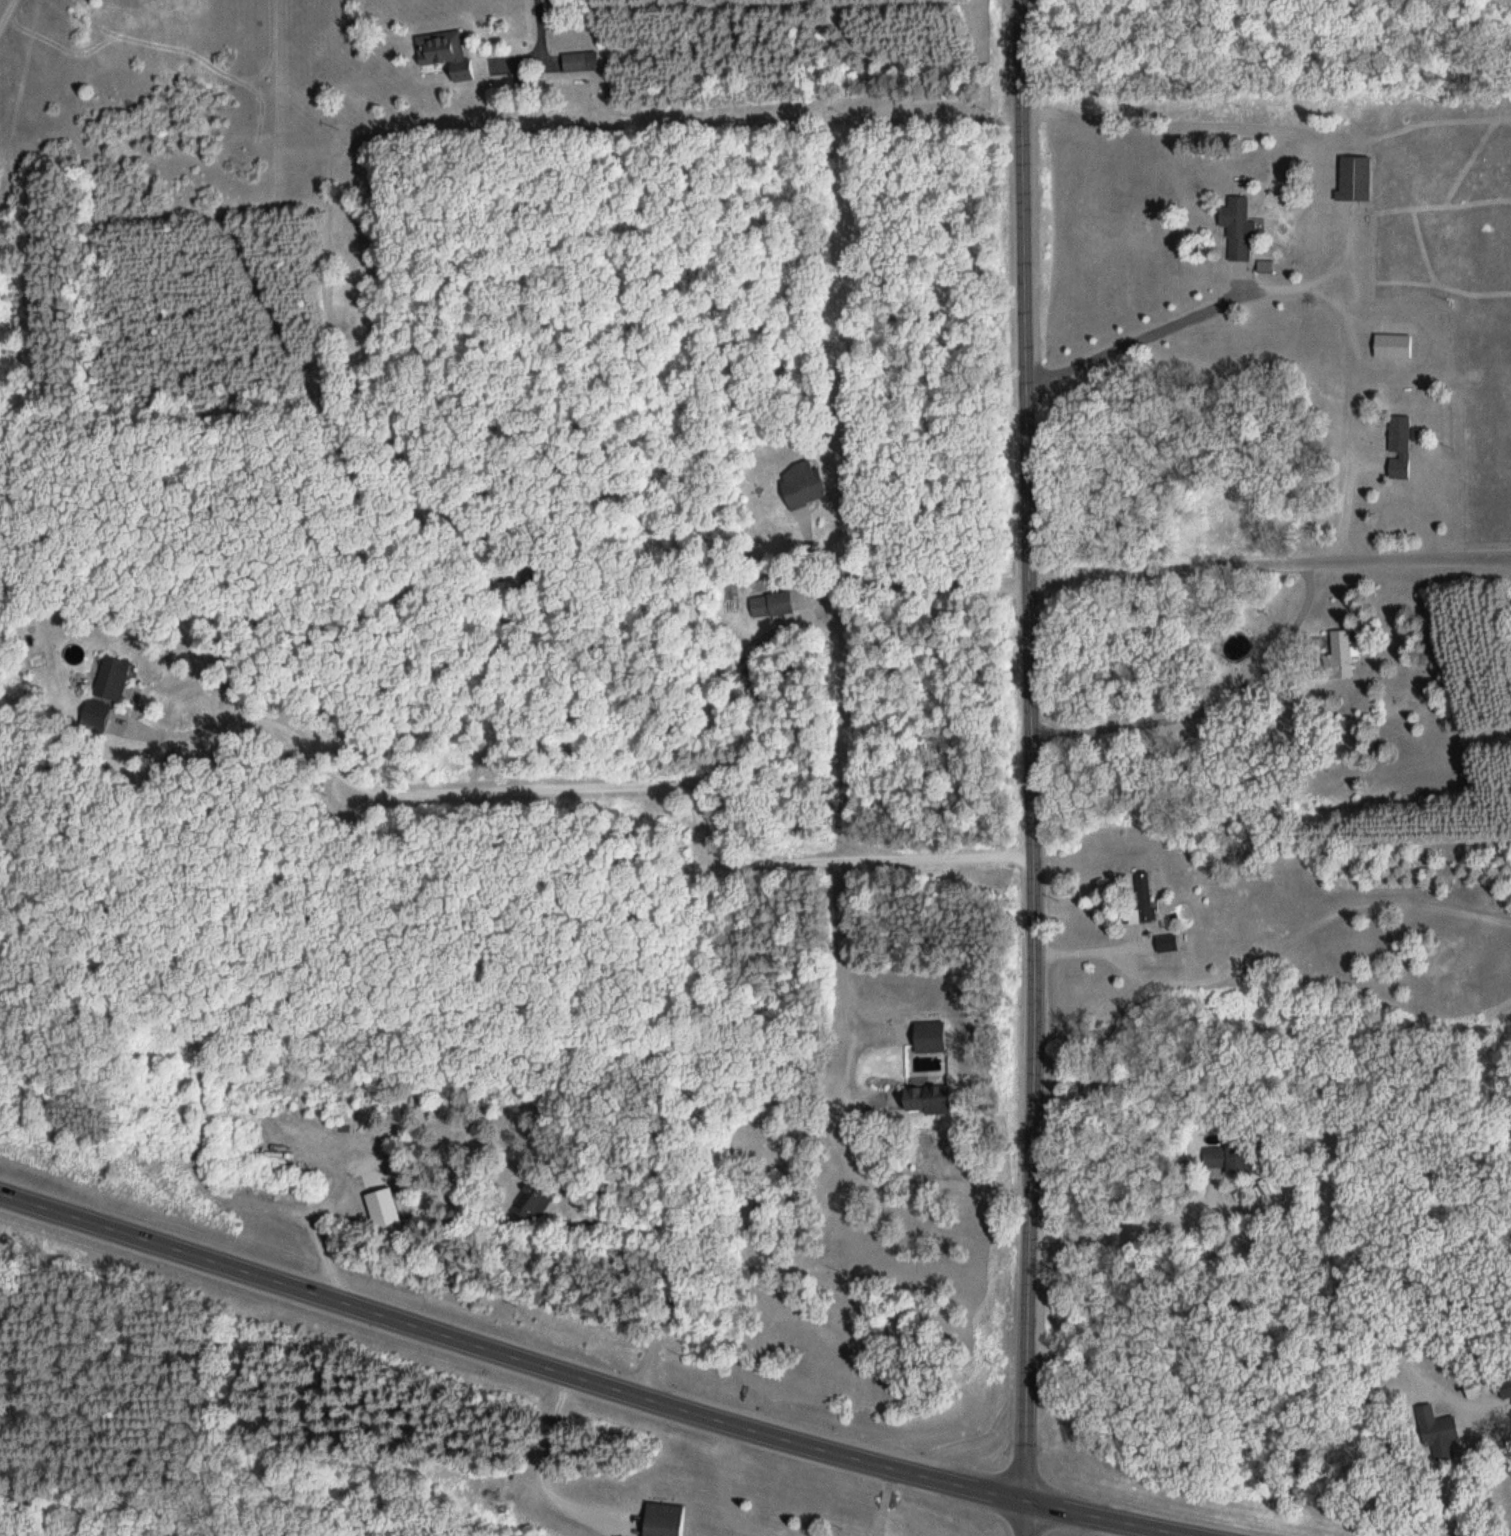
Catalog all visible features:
road: (8, 21)
building: (449, 52)
building: (583, 62)
building: (1359, 179)
building: (1241, 228)
road: (1186, 341)
building: (1395, 346)
road: (1340, 442)
building: (1402, 447)
building: (805, 484)
road: (1269, 565)
building: (774, 605)
building: (1344, 655)
building: (120, 681)
building: (95, 714)
road: (1027, 767)
building: (1148, 897)
building: (1170, 944)
building: (933, 1034)
building: (537, 1200)
road: (594, 1377)
building: (1479, 1387)
building: (1507, 1388)
building: (1440, 1426)
building: (666, 1519)

